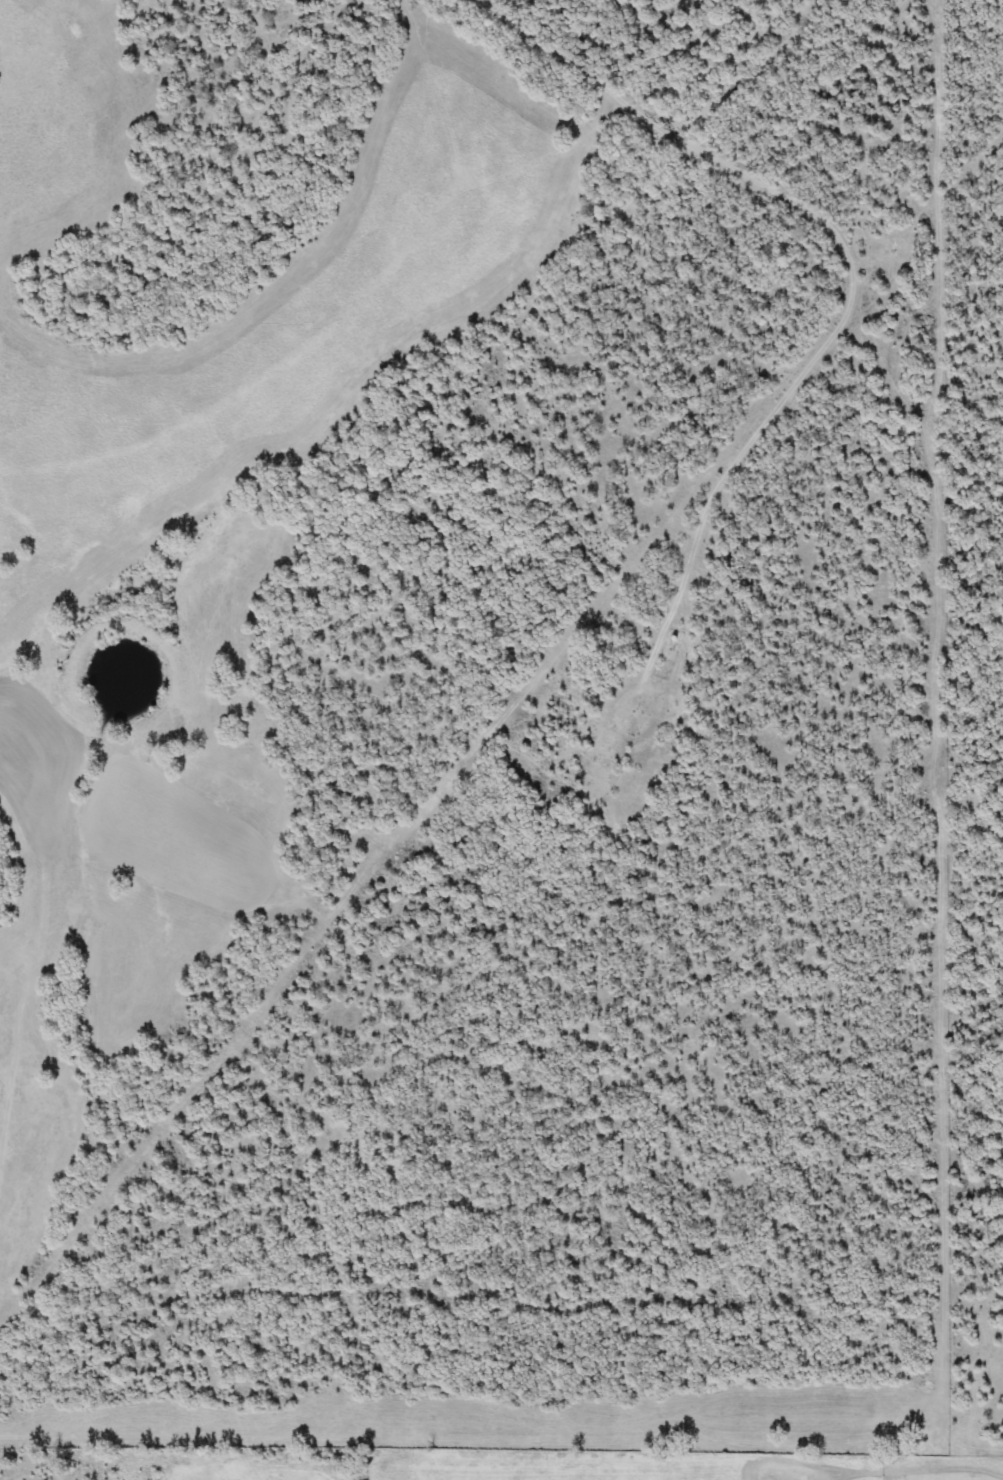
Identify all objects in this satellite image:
road: (852, 296)

